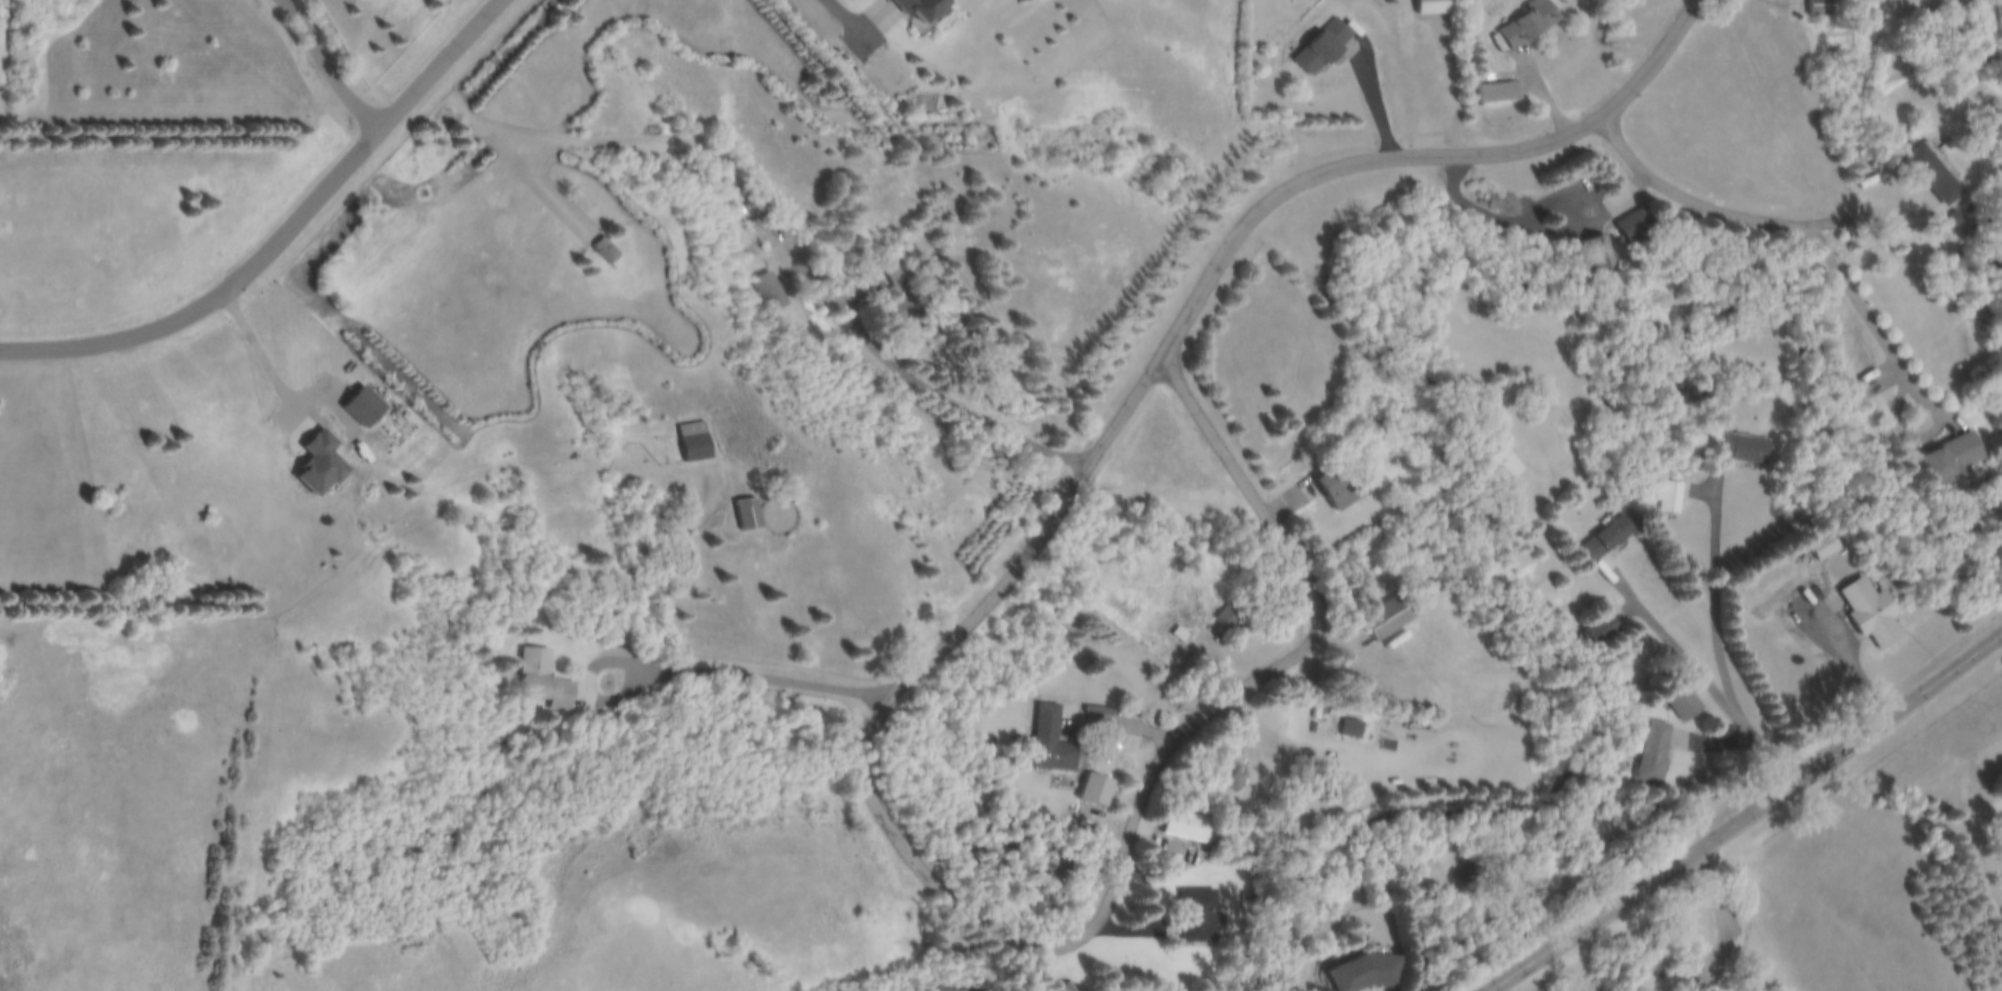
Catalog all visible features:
road: (1785, 5)
building: (1440, 6)
building: (932, 9)
building: (1824, 9)
road: (831, 12)
building: (1534, 22)
building: (1331, 47)
road: (333, 66)
building: (1504, 93)
road: (1376, 101)
road: (1418, 163)
building: (1940, 180)
road: (1687, 200)
road: (1869, 219)
building: (1640, 225)
road: (281, 233)
building: (620, 250)
building: (1599, 253)
building: (901, 290)
building: (778, 292)
road: (897, 352)
building: (710, 440)
building: (1743, 448)
building: (1949, 460)
building: (1510, 463)
building: (1338, 488)
building: (1670, 497)
building: (764, 513)
building: (1609, 538)
road: (642, 546)
building: (1823, 546)
road: (1713, 591)
building: (1864, 607)
building: (1228, 617)
building: (1391, 617)
building: (1603, 630)
building: (1180, 634)
road: (1696, 670)
road: (752, 675)
building: (544, 681)
road: (592, 699)
building: (1682, 701)
building: (1351, 730)
building: (1055, 742)
building: (1654, 754)
road: (1745, 815)
building: (1187, 826)
building: (1198, 916)
road: (1718, 918)
road: (1031, 942)
building: (1366, 975)
building: (1069, 988)

